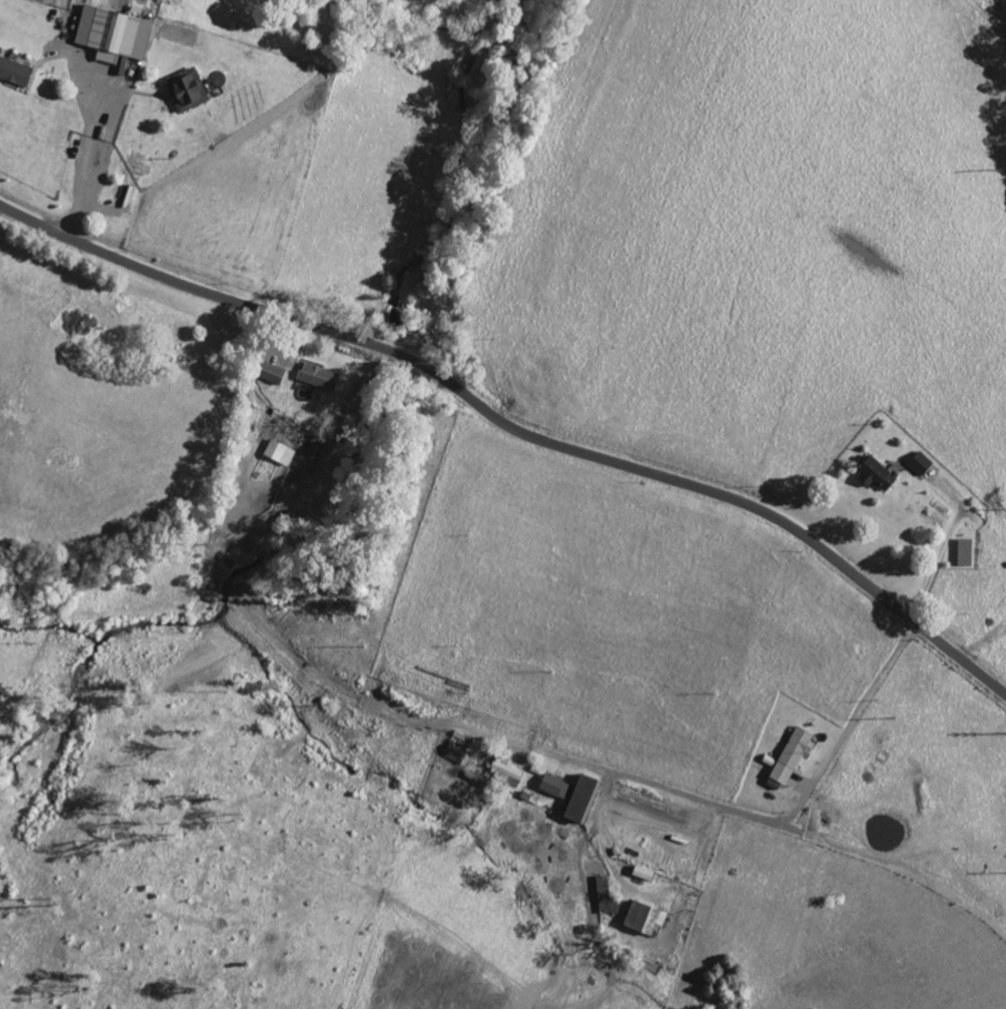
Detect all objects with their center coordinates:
building: (115, 33)
building: (15, 71)
building: (188, 89)
building: (274, 373)
building: (320, 376)
road: (515, 430)
building: (281, 452)
building: (922, 463)
building: (879, 474)
building: (968, 552)
building: (794, 754)
building: (508, 774)
building: (483, 780)
building: (558, 787)
building: (584, 798)
building: (608, 896)
building: (647, 919)

